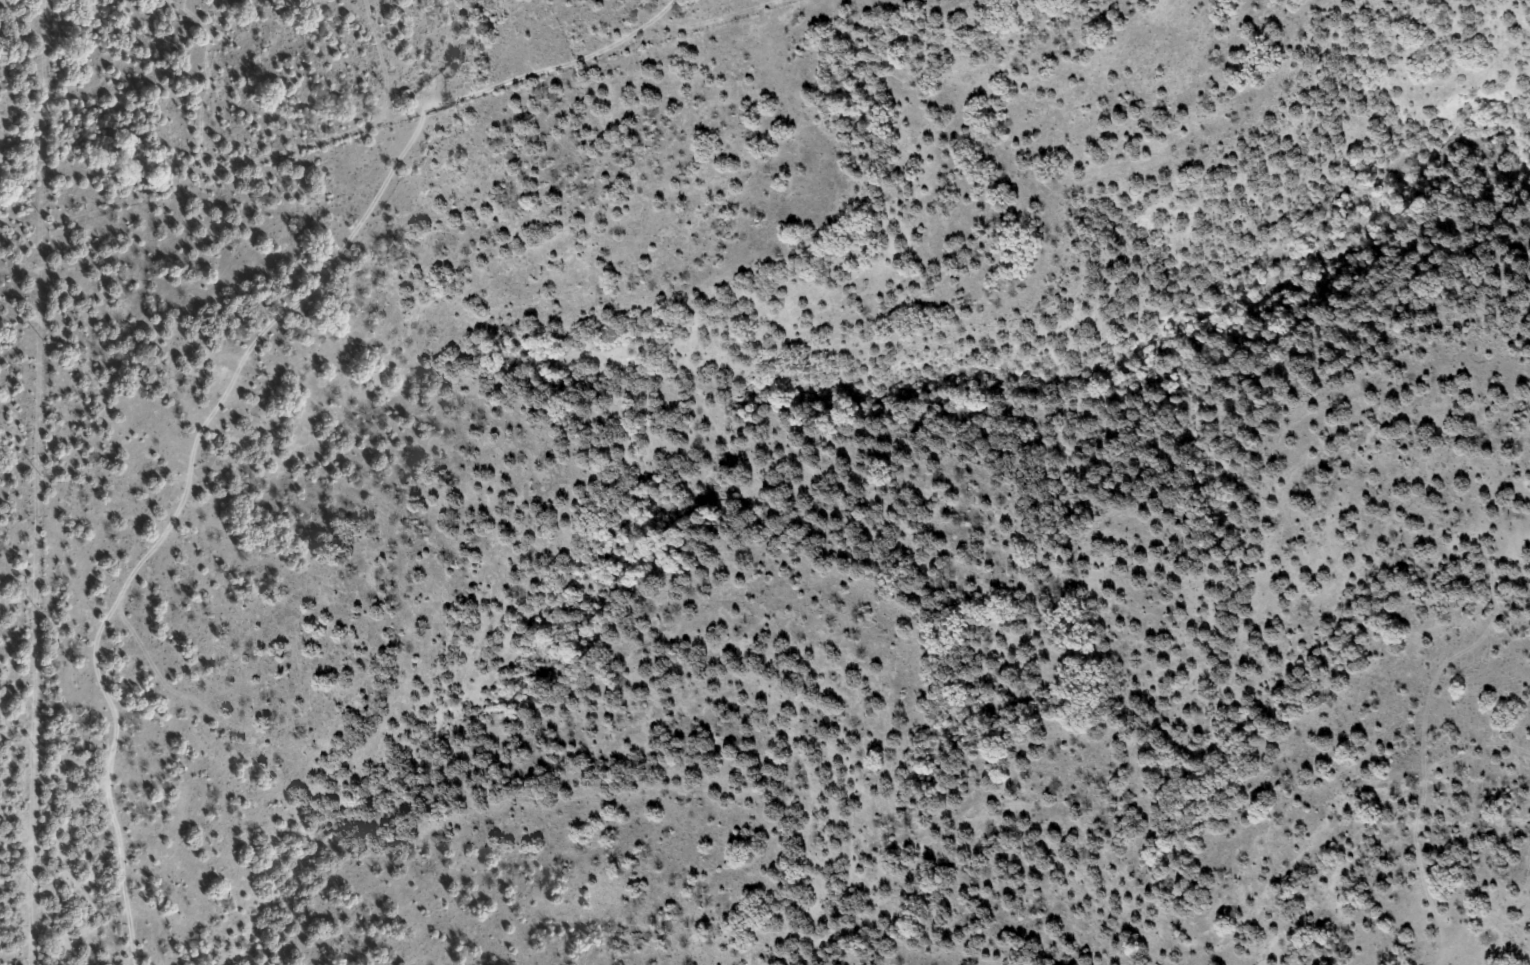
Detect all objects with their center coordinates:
road: (580, 66)

